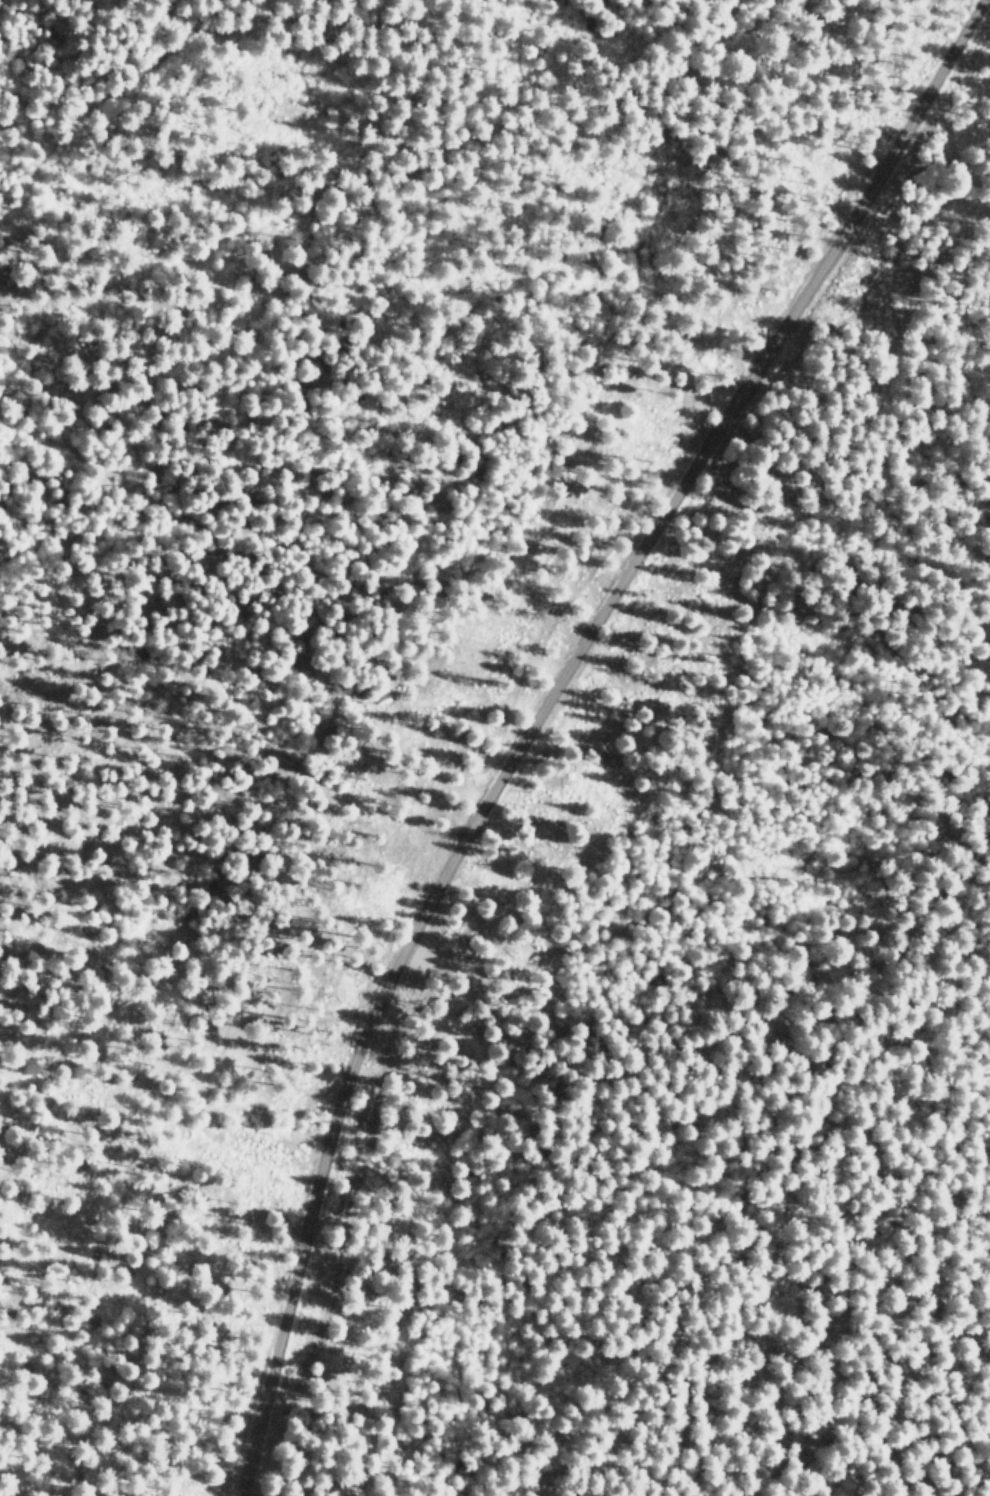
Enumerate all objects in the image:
road: (99, 157)
road: (872, 306)
road: (540, 715)

